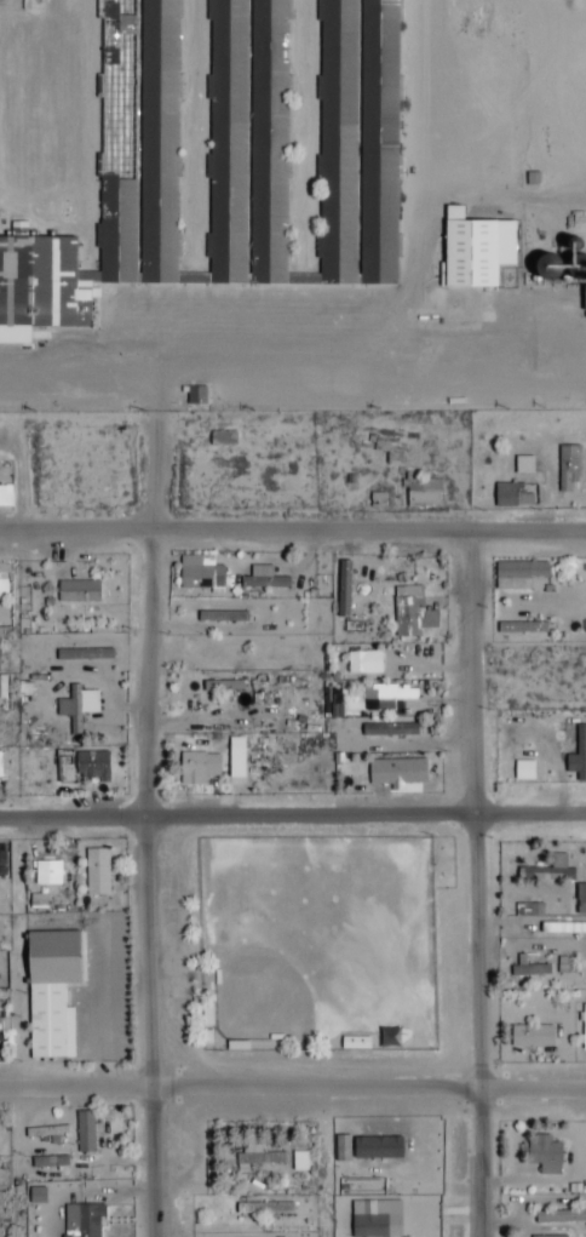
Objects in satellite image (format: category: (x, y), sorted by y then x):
building: (234, 162)
building: (475, 251)
building: (562, 273)
road: (351, 331)
road: (477, 368)
road: (154, 374)
building: (193, 396)
building: (569, 470)
building: (423, 493)
building: (513, 496)
road: (293, 537)
building: (200, 574)
building: (519, 575)
building: (264, 580)
building: (79, 594)
building: (228, 607)
building: (412, 613)
building: (85, 655)
building: (386, 698)
building: (81, 706)
building: (390, 731)
building: (193, 764)
building: (0, 766)
building: (91, 767)
building: (518, 772)
building: (393, 774)
road: (293, 817)
road: (156, 824)
building: (47, 874)
building: (97, 874)
building: (541, 875)
road: (471, 887)
building: (580, 900)
building: (528, 911)
building: (548, 928)
park: (317, 944)
building: (529, 972)
building: (50, 991)
building: (530, 1037)
road: (292, 1093)
building: (84, 1133)
building: (545, 1156)
building: (257, 1158)
building: (264, 1209)
building: (81, 1221)
building: (369, 1226)
building: (545, 1236)

